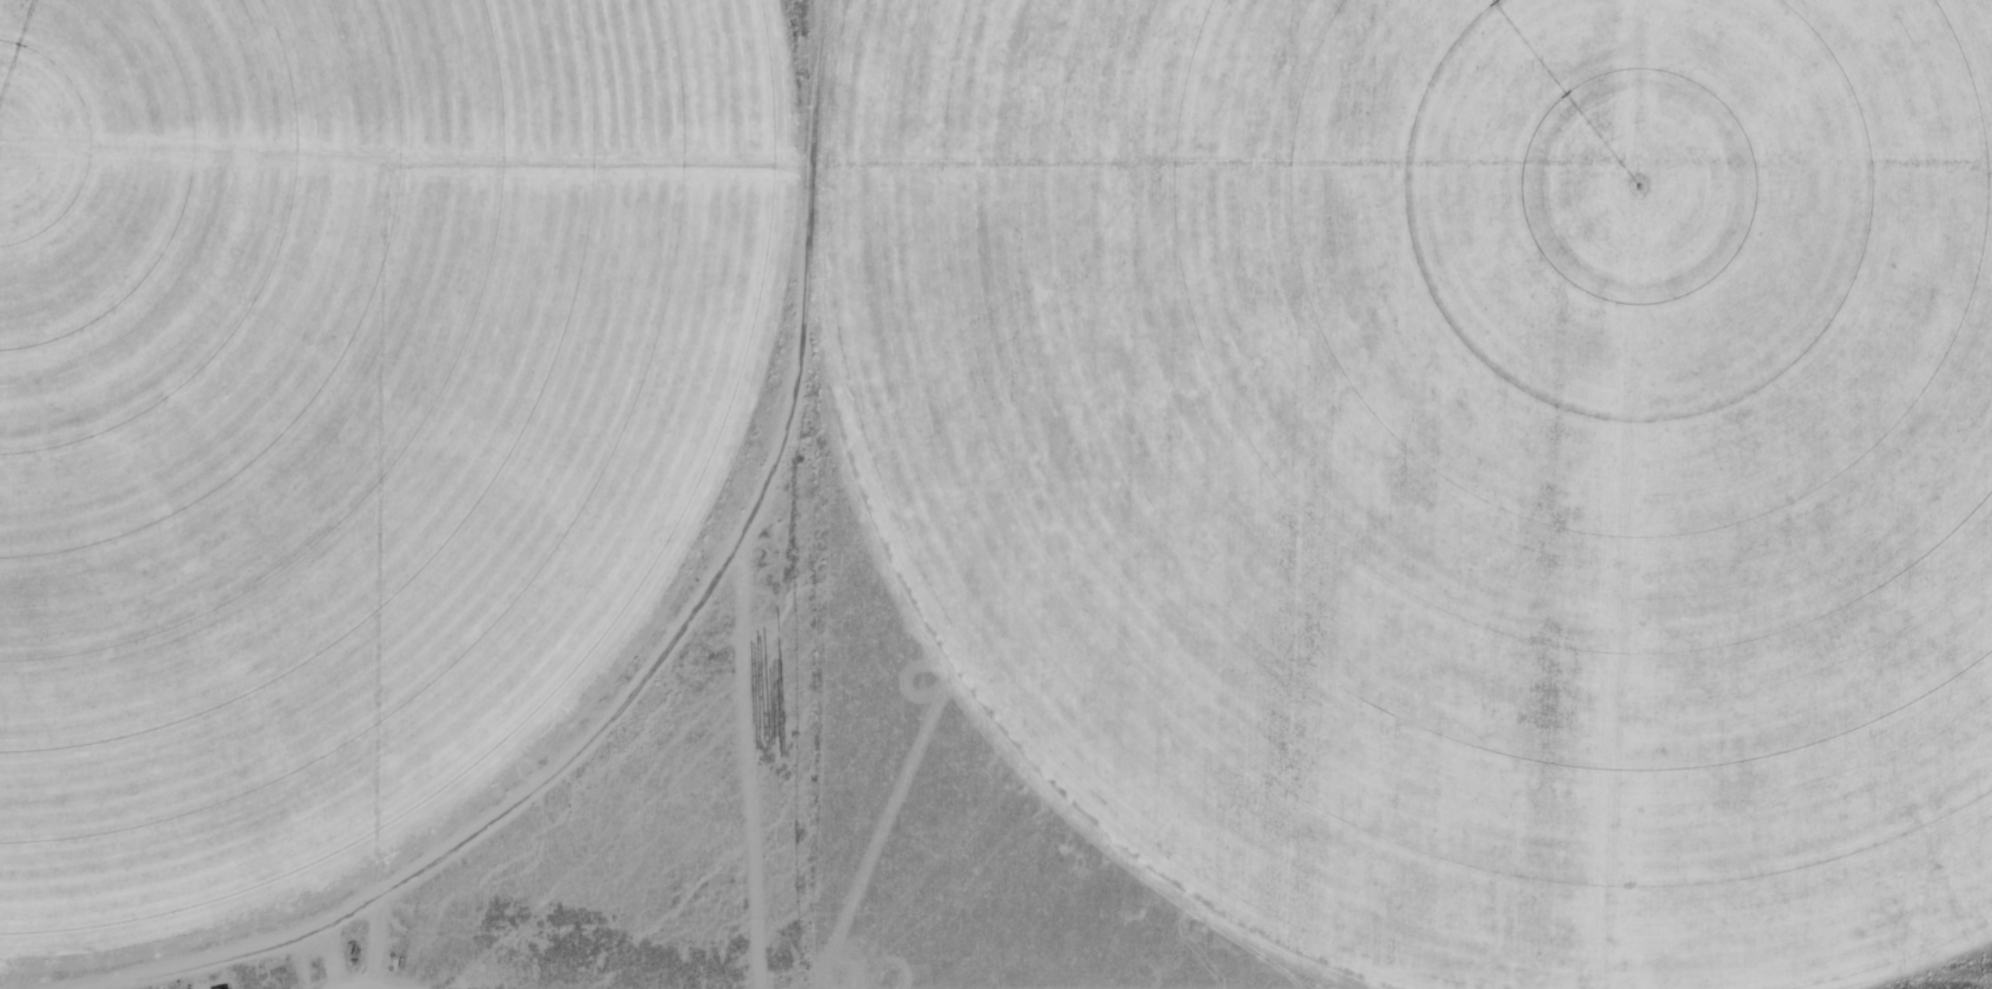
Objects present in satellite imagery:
crop: (345, 408)
crop: (1447, 458)
road: (683, 634)
road: (1937, 967)

